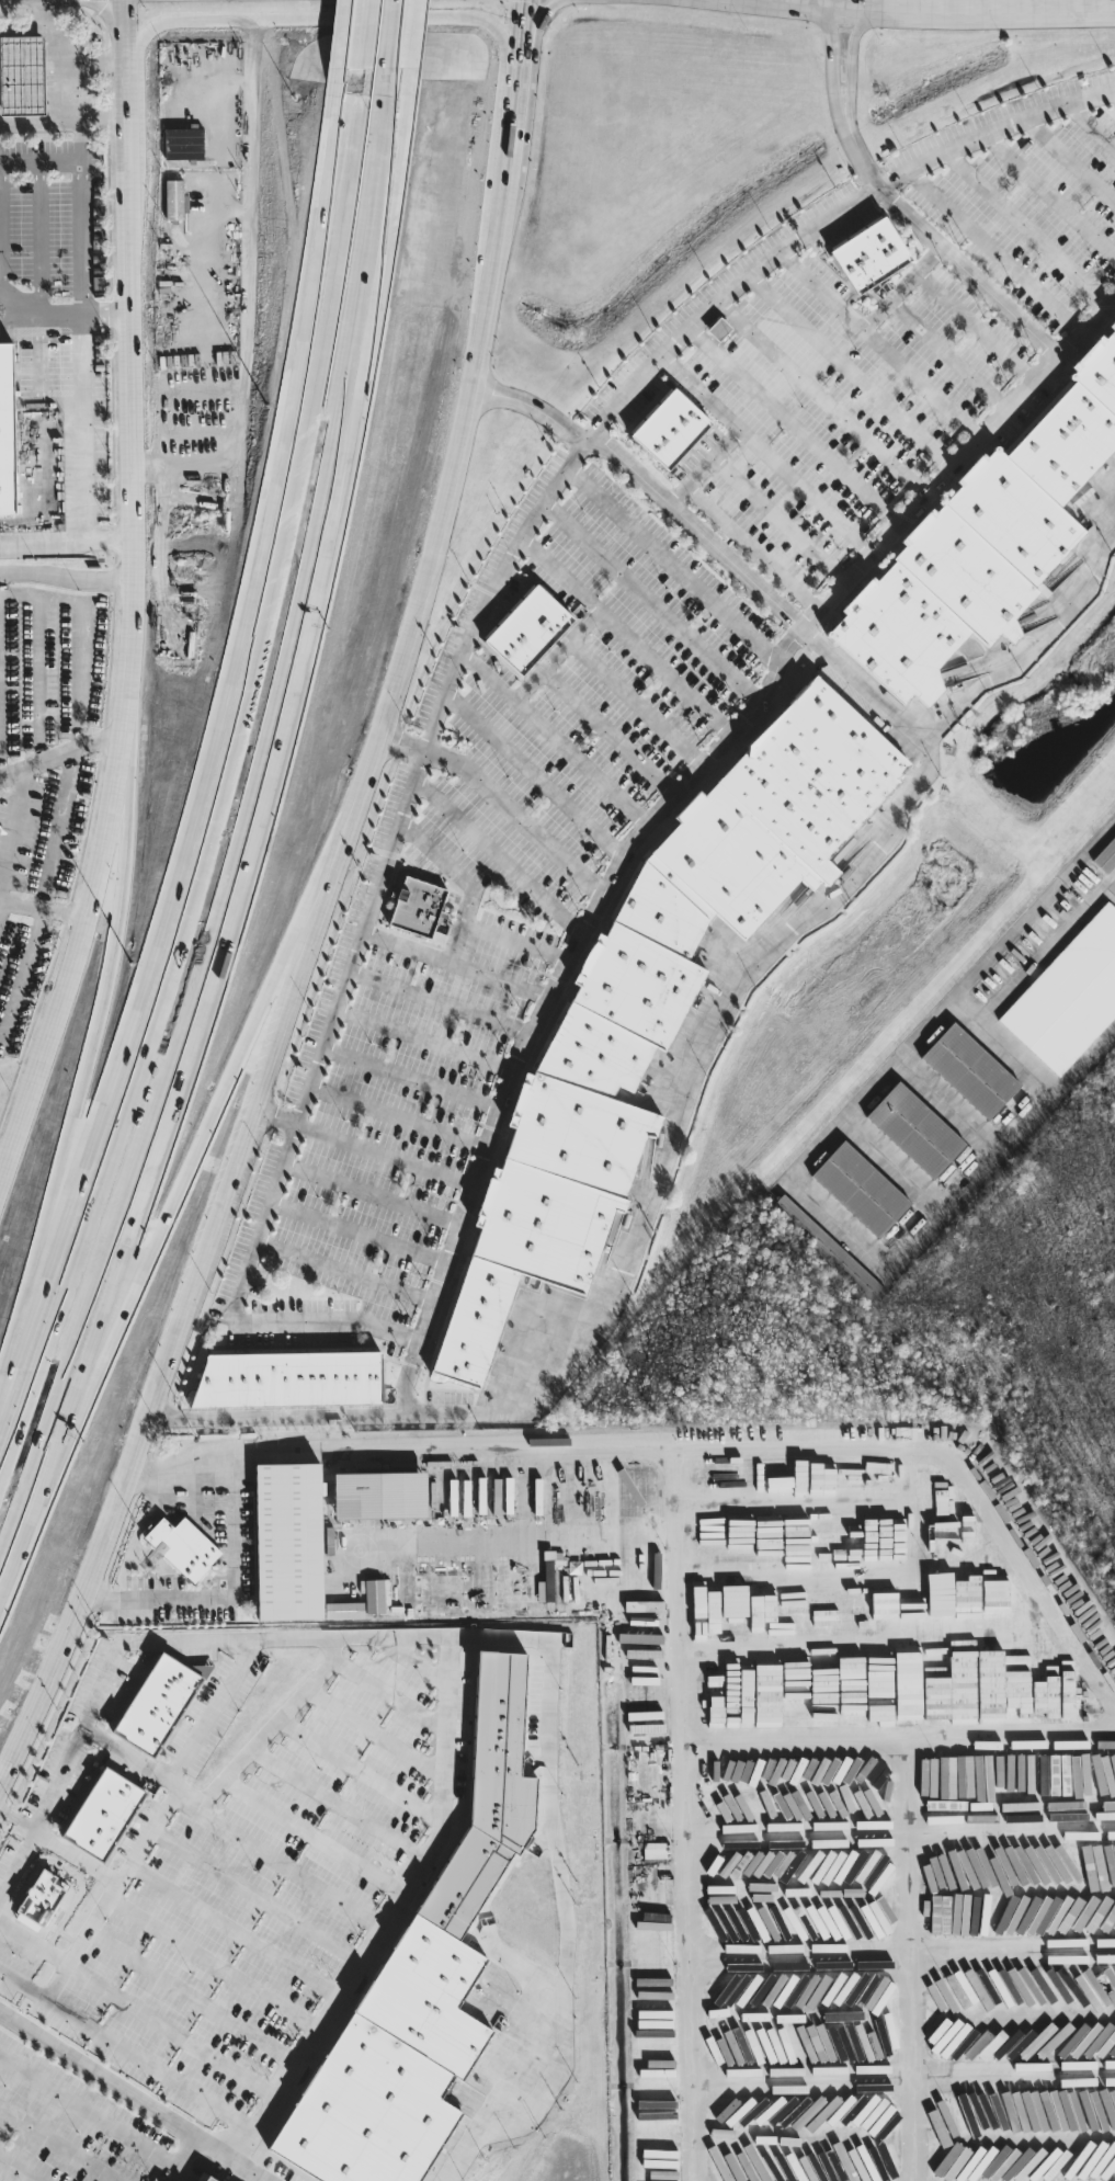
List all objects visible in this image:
road: (801, 3)
road: (831, 3)
road: (972, 11)
road: (39, 13)
road: (328, 15)
road: (532, 33)
road: (519, 36)
road: (356, 37)
road: (386, 37)
road: (102, 61)
road: (77, 69)
road: (851, 69)
road: (831, 71)
building: (22, 73)
road: (513, 100)
road: (64, 118)
road: (1093, 121)
road: (993, 130)
building: (183, 143)
road: (511, 145)
road: (1072, 157)
road: (1050, 194)
building: (174, 198)
road: (80, 201)
parking lot: (1032, 204)
road: (1027, 226)
parking lot: (53, 230)
road: (993, 250)
building: (869, 255)
road: (824, 294)
road: (247, 295)
road: (62, 314)
building: (719, 328)
road: (981, 330)
road: (1082, 331)
road: (890, 352)
road: (954, 359)
road: (857, 375)
road: (1043, 395)
road: (698, 396)
road: (830, 401)
parking lot: (831, 412)
building: (669, 428)
road: (800, 431)
road: (582, 450)
road: (769, 456)
road: (83, 464)
building: (31, 478)
road: (784, 523)
building: (981, 545)
road: (758, 553)
road: (66, 556)
road: (678, 568)
road: (66, 591)
road: (652, 602)
road: (132, 604)
building: (530, 627)
road: (587, 654)
road: (667, 670)
road: (36, 683)
road: (975, 692)
road: (517, 693)
road: (610, 735)
road: (582, 764)
road: (60, 771)
building: (816, 773)
road: (538, 777)
road: (1, 779)
road: (225, 781)
road: (236, 817)
road: (520, 817)
road: (10, 832)
road: (54, 837)
road: (1099, 839)
road: (501, 859)
building: (728, 861)
parking lot: (492, 882)
road: (1110, 889)
road: (1, 894)
road: (1, 901)
road: (48, 908)
building: (417, 911)
road: (462, 918)
road: (1017, 927)
road: (592, 929)
road: (453, 944)
road: (1045, 946)
road: (357, 966)
road: (463, 967)
road: (297, 992)
building: (1065, 993)
road: (447, 1001)
road: (430, 1041)
road: (92, 1049)
road: (1014, 1057)
building: (967, 1070)
road: (416, 1078)
road: (949, 1103)
road: (680, 1116)
road: (400, 1117)
building: (574, 1124)
building: (912, 1129)
road: (386, 1155)
road: (894, 1163)
road: (3, 1172)
building: (856, 1186)
road: (372, 1194)
road: (174, 1204)
road: (360, 1231)
building: (828, 1248)
road: (869, 1257)
road: (345, 1269)
road: (234, 1310)
building: (289, 1381)
road: (191, 1464)
road: (901, 1491)
building: (420, 1498)
building: (345, 1502)
building: (967, 1534)
building: (289, 1540)
building: (345, 1540)
building: (183, 1546)
building: (604, 1572)
road: (1019, 1575)
building: (546, 1588)
road: (228, 1592)
road: (482, 1633)
building: (1003, 1684)
building: (159, 1703)
building: (908, 1703)
road: (265, 1735)
road: (898, 1738)
road: (185, 1752)
road: (682, 1811)
building: (104, 1815)
road: (276, 1862)
road: (257, 1894)
building: (42, 1898)
road: (400, 1898)
road: (236, 1928)
road: (214, 1963)
building: (424, 1978)
road: (23, 1987)
building: (1092, 1989)
road: (193, 1996)
road: (52, 2006)
road: (172, 2031)
road: (902, 2075)
road: (134, 2097)
road: (89, 2105)
road: (4, 2109)
road: (56, 2140)
road: (182, 2158)
road: (15, 2170)
building: (205, 2180)

